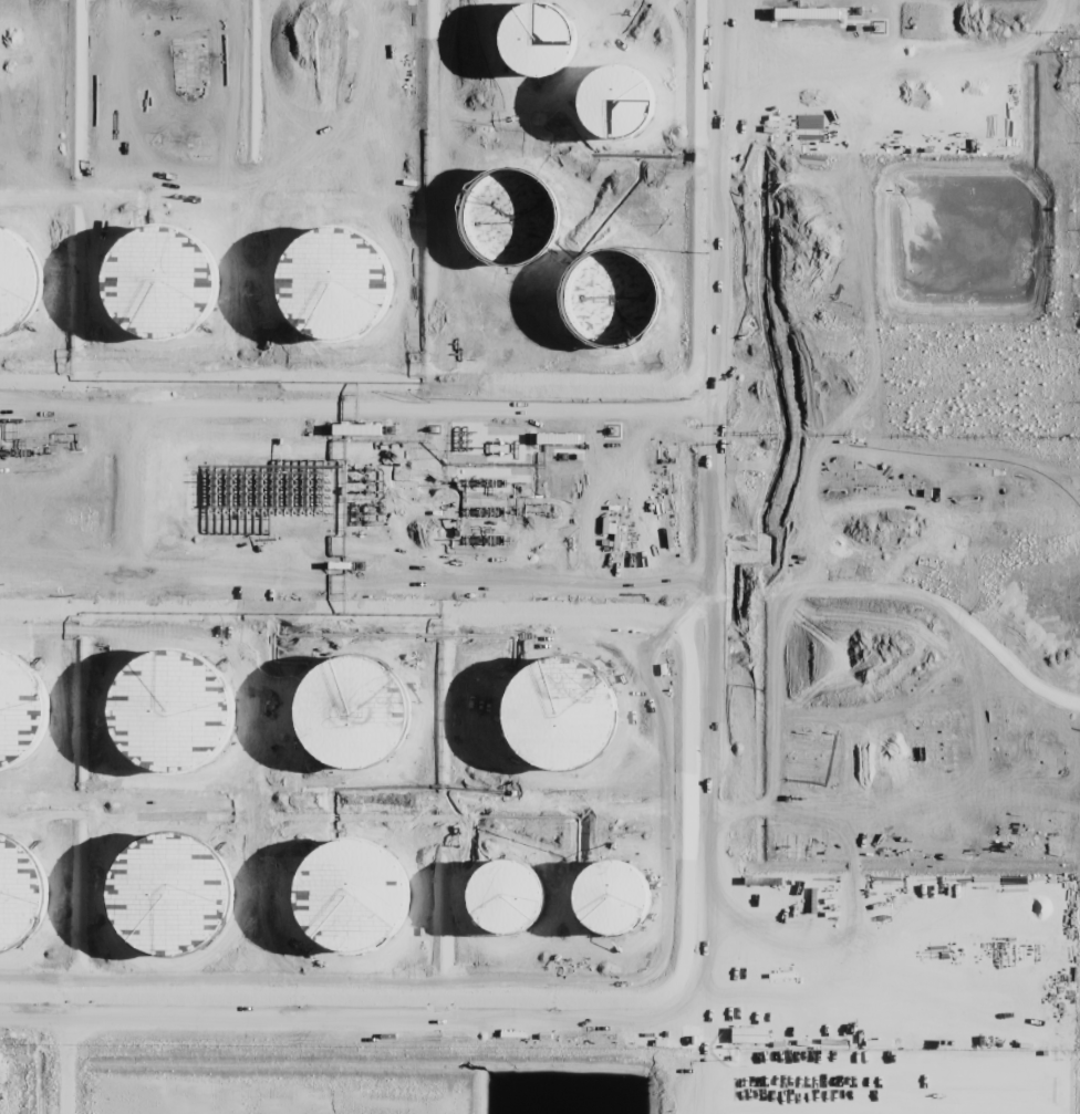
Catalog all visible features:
crop: (540, 555)

